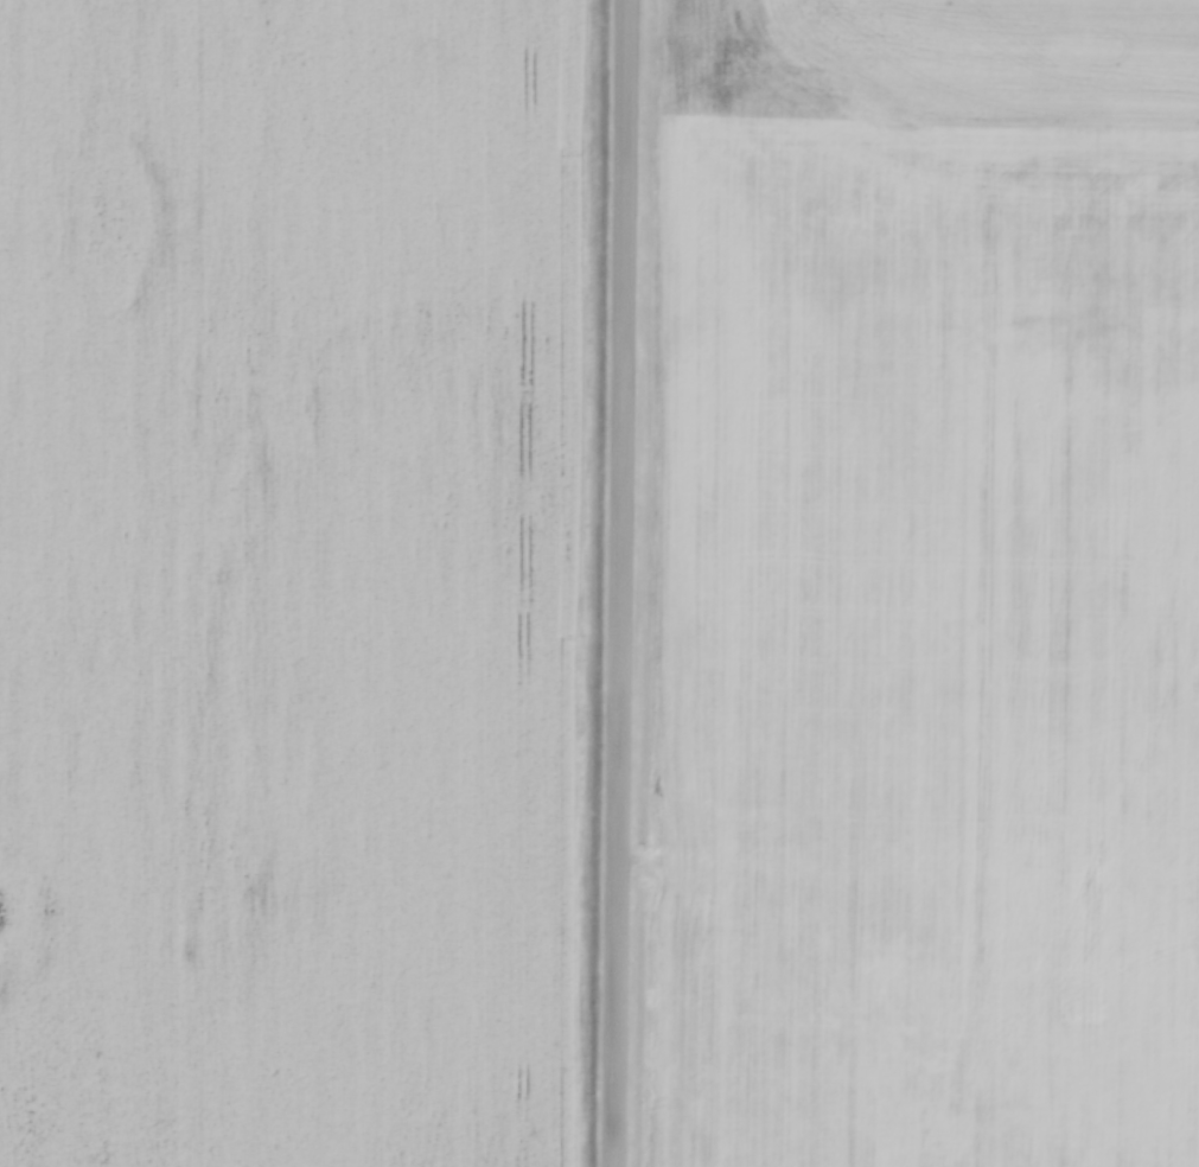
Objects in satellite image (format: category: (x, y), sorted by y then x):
road: (627, 583)

